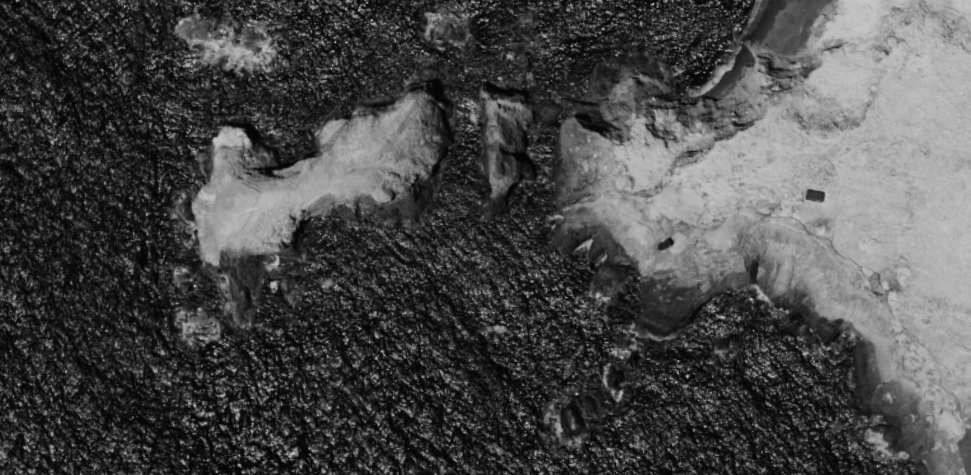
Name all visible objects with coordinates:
building: (814, 198)
building: (665, 246)
road: (967, 458)

